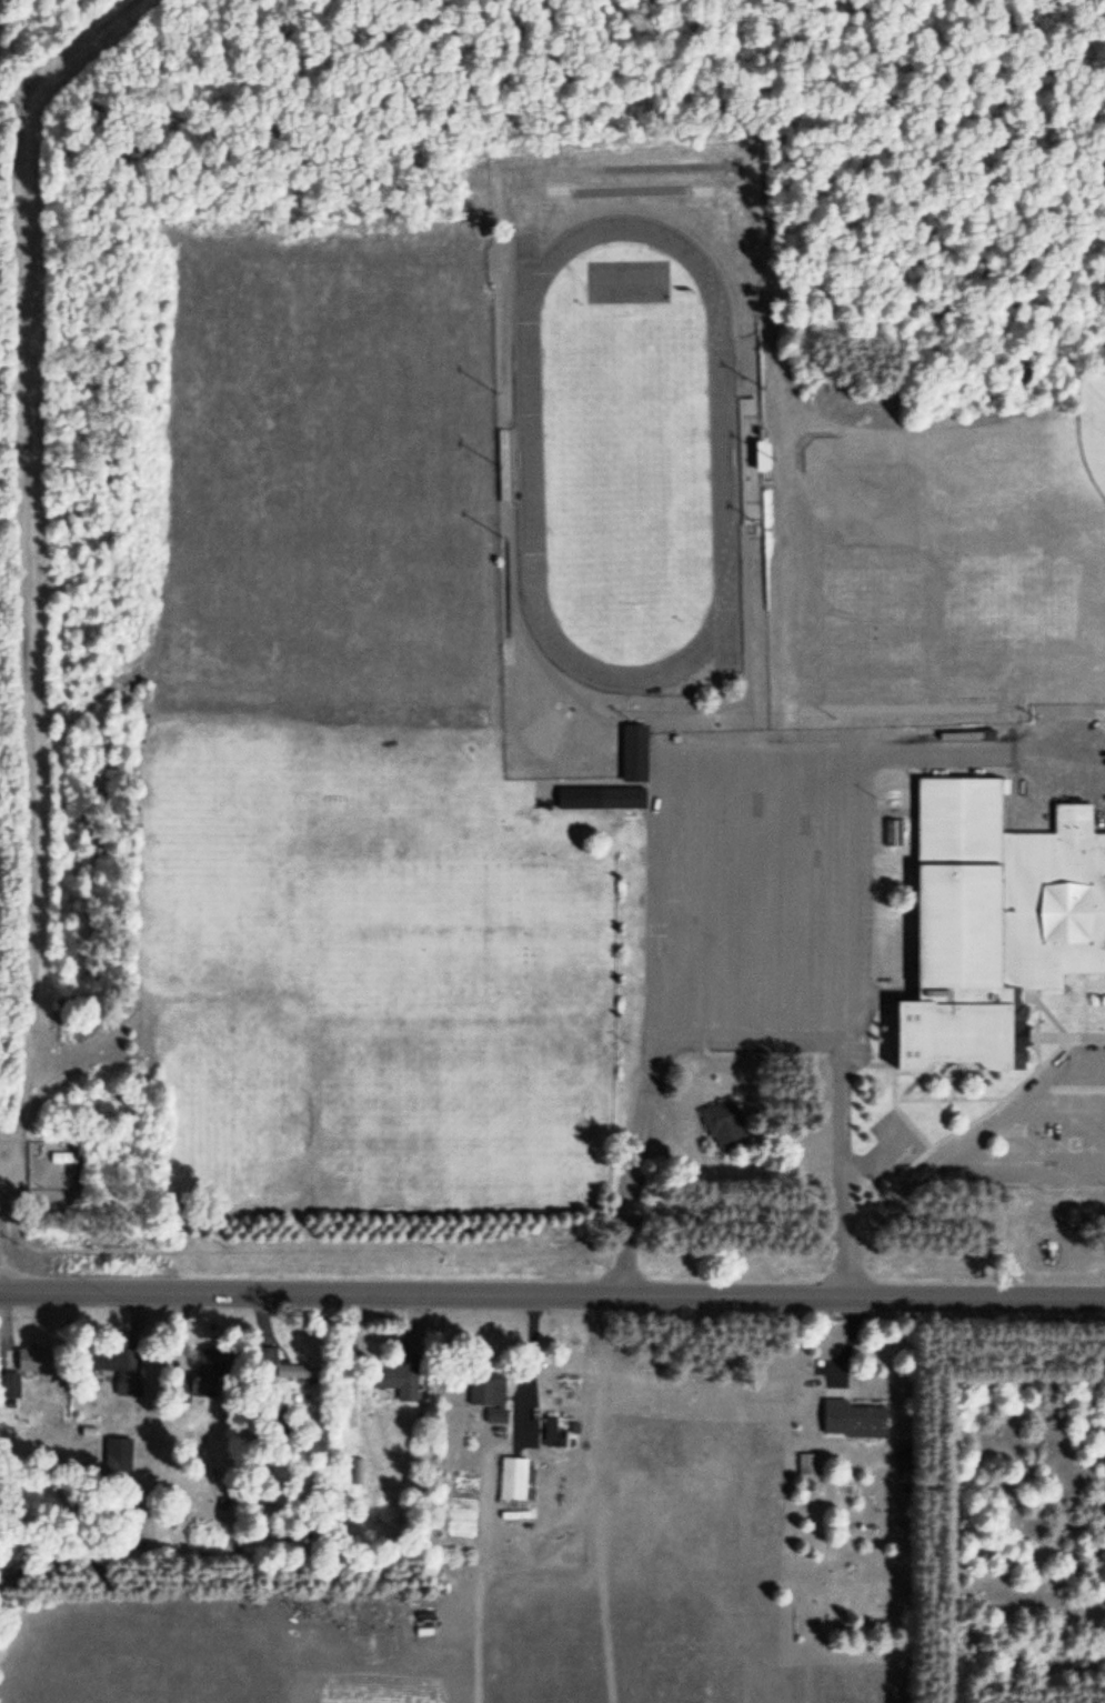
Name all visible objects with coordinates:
park: (1094, 422)
track: (721, 458)
park: (631, 460)
building: (637, 755)
road: (865, 757)
building: (624, 799)
road: (759, 890)
road: (804, 890)
road: (844, 890)
road: (710, 891)
road: (669, 892)
parking lot: (757, 895)
road: (905, 901)
building: (995, 920)
road: (1084, 1006)
road: (1045, 1015)
road: (721, 1021)
road: (1035, 1035)
road: (1045, 1038)
road: (912, 1083)
road: (947, 1099)
road: (1063, 1103)
park: (459, 1116)
road: (970, 1123)
building: (729, 1126)
parking lot: (1058, 1144)
parking lot: (891, 1148)
road: (944, 1156)
road: (1021, 1163)
road: (875, 1164)
road: (907, 1169)
road: (552, 1296)
building: (396, 1385)
building: (490, 1394)
building: (498, 1418)
building: (854, 1421)
building: (515, 1481)

